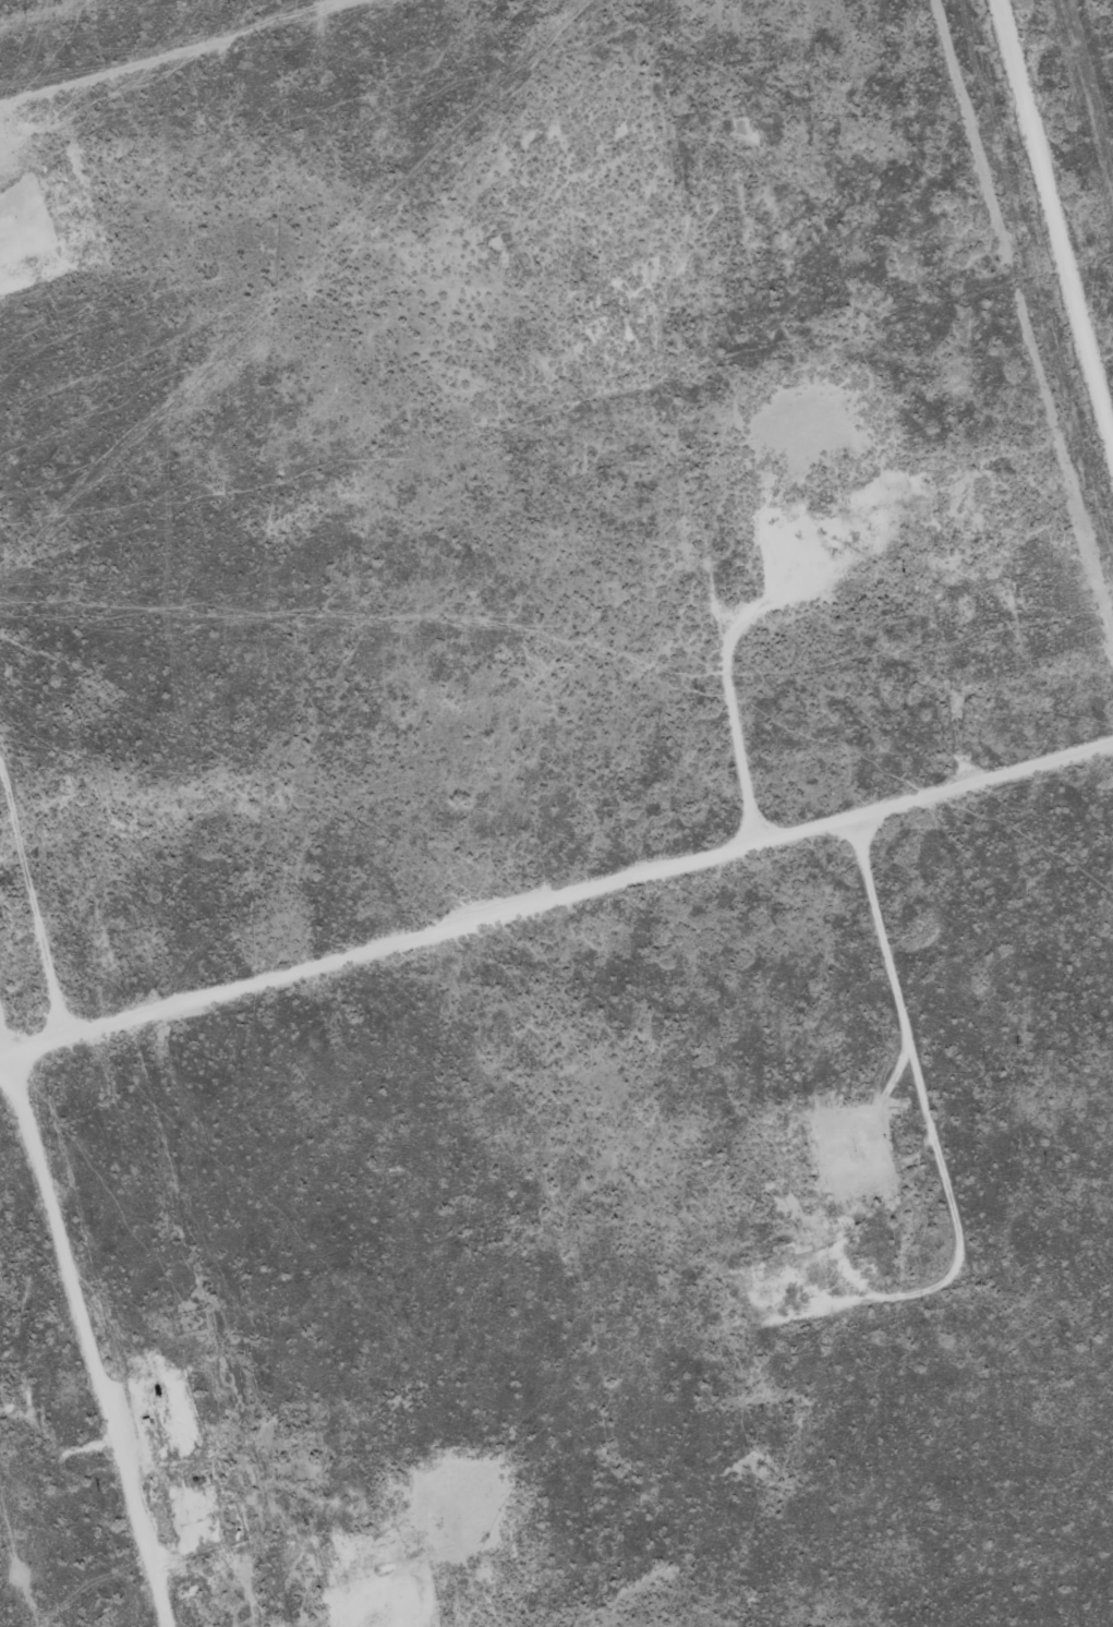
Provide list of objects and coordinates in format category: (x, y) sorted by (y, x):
road: (1058, 216)

